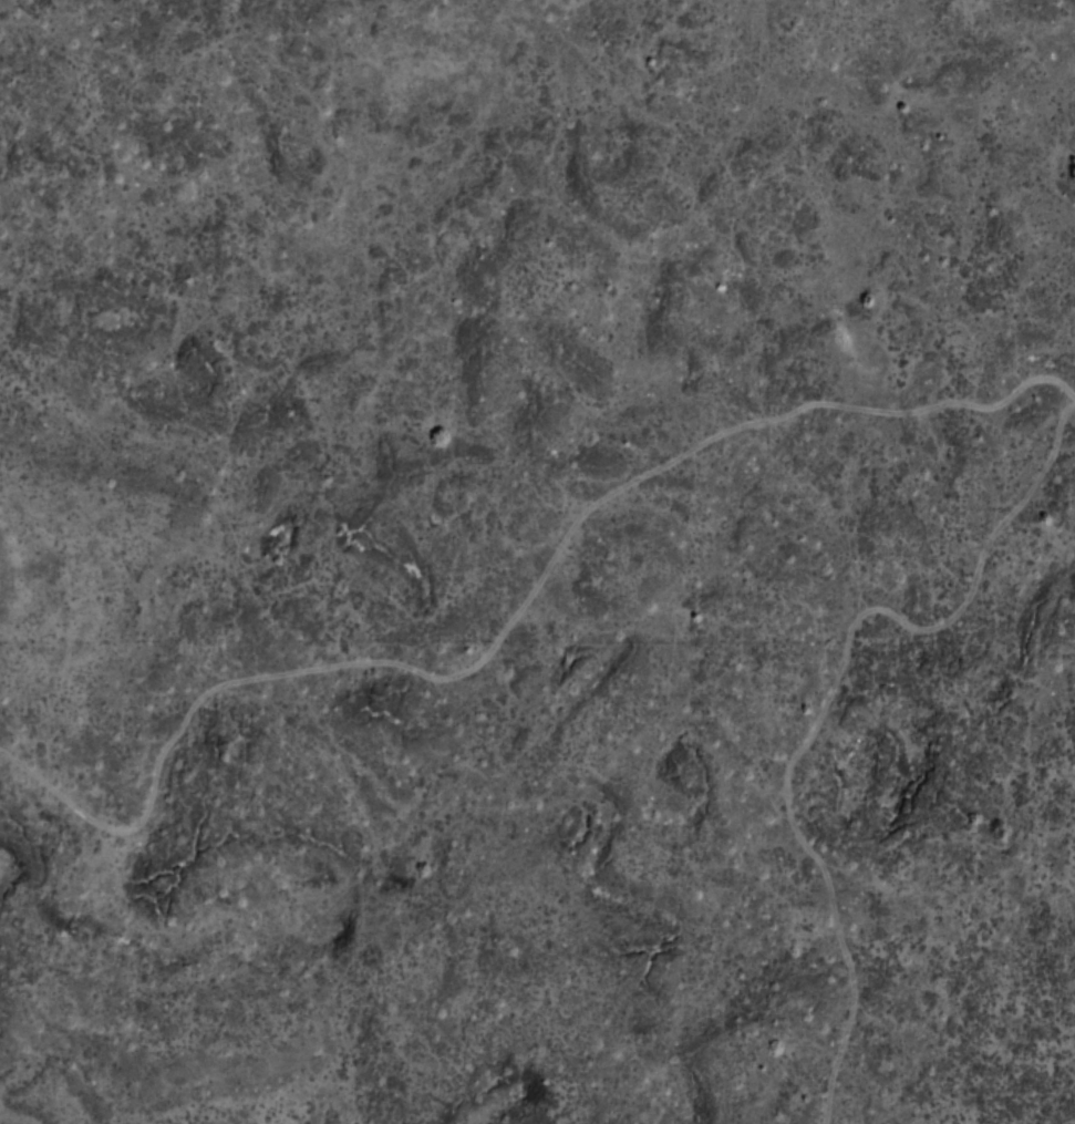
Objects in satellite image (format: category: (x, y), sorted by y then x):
road: (514, 625)
road: (829, 709)

